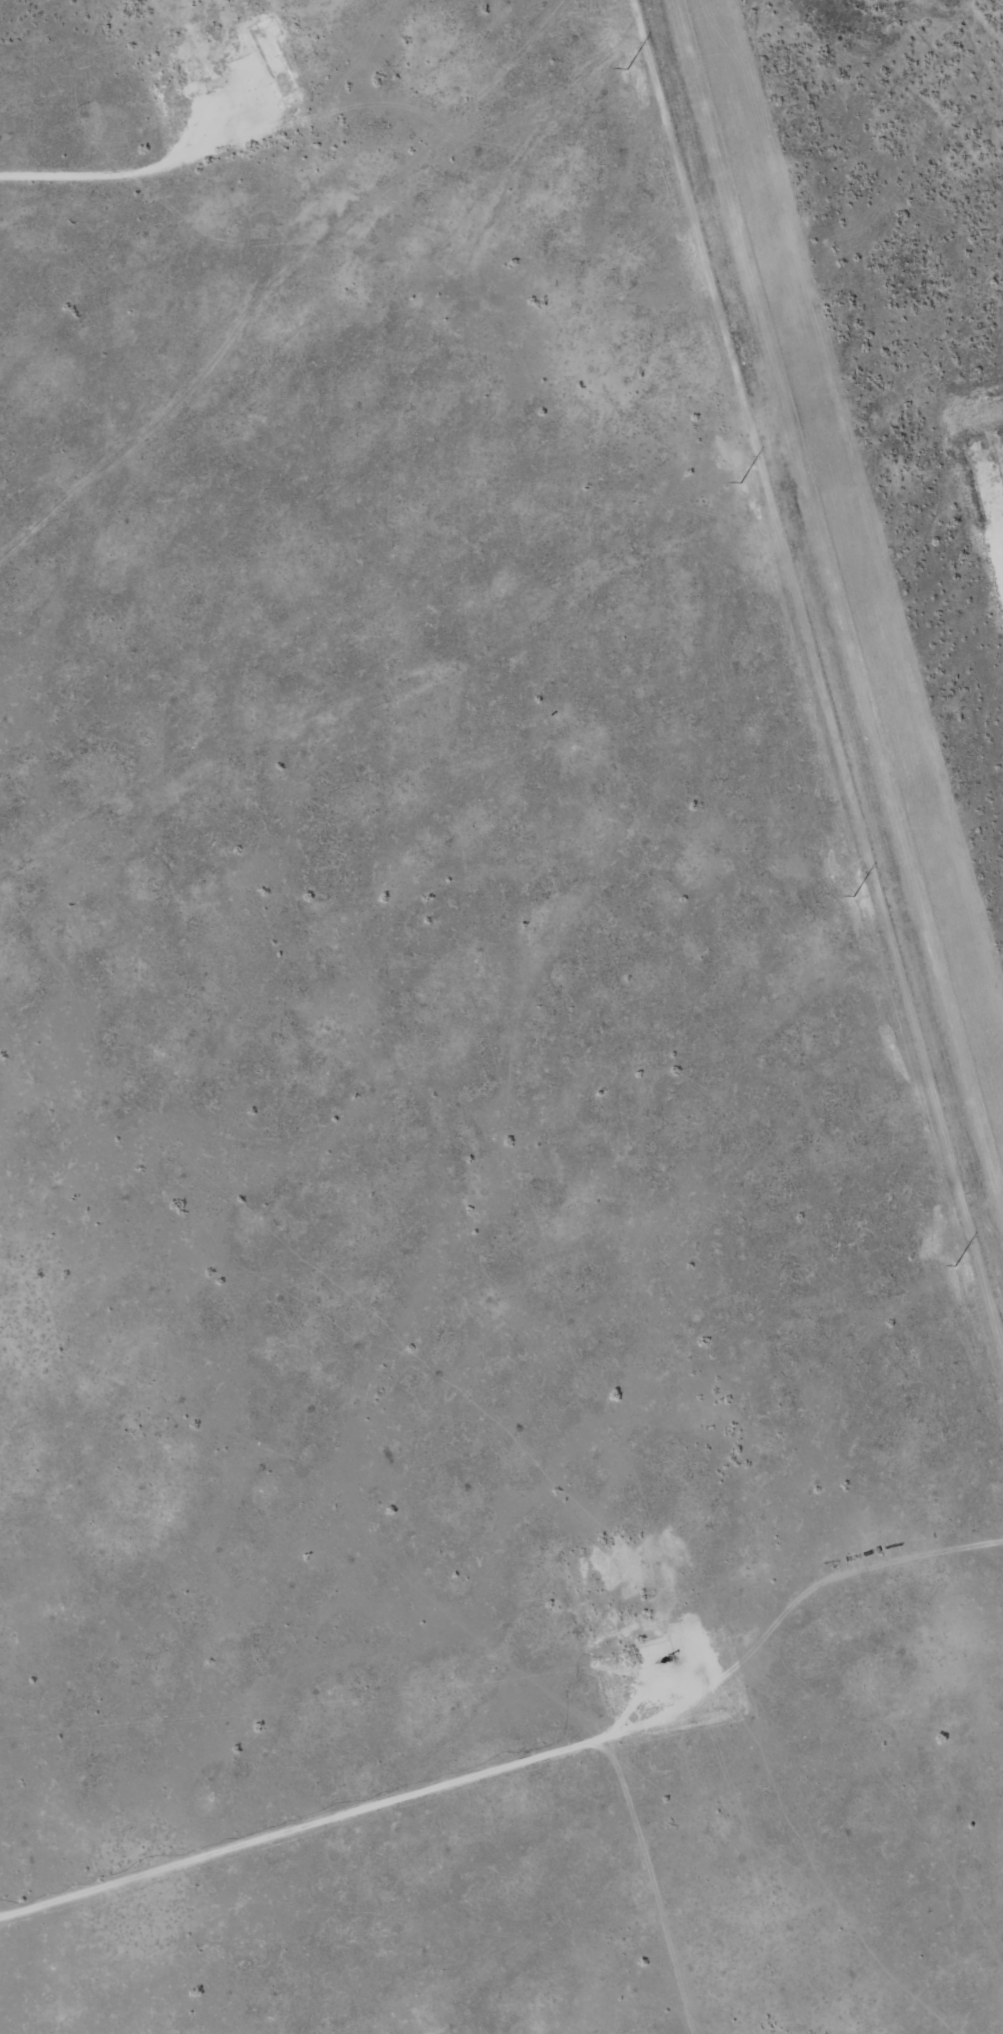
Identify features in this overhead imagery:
road: (916, 91)

